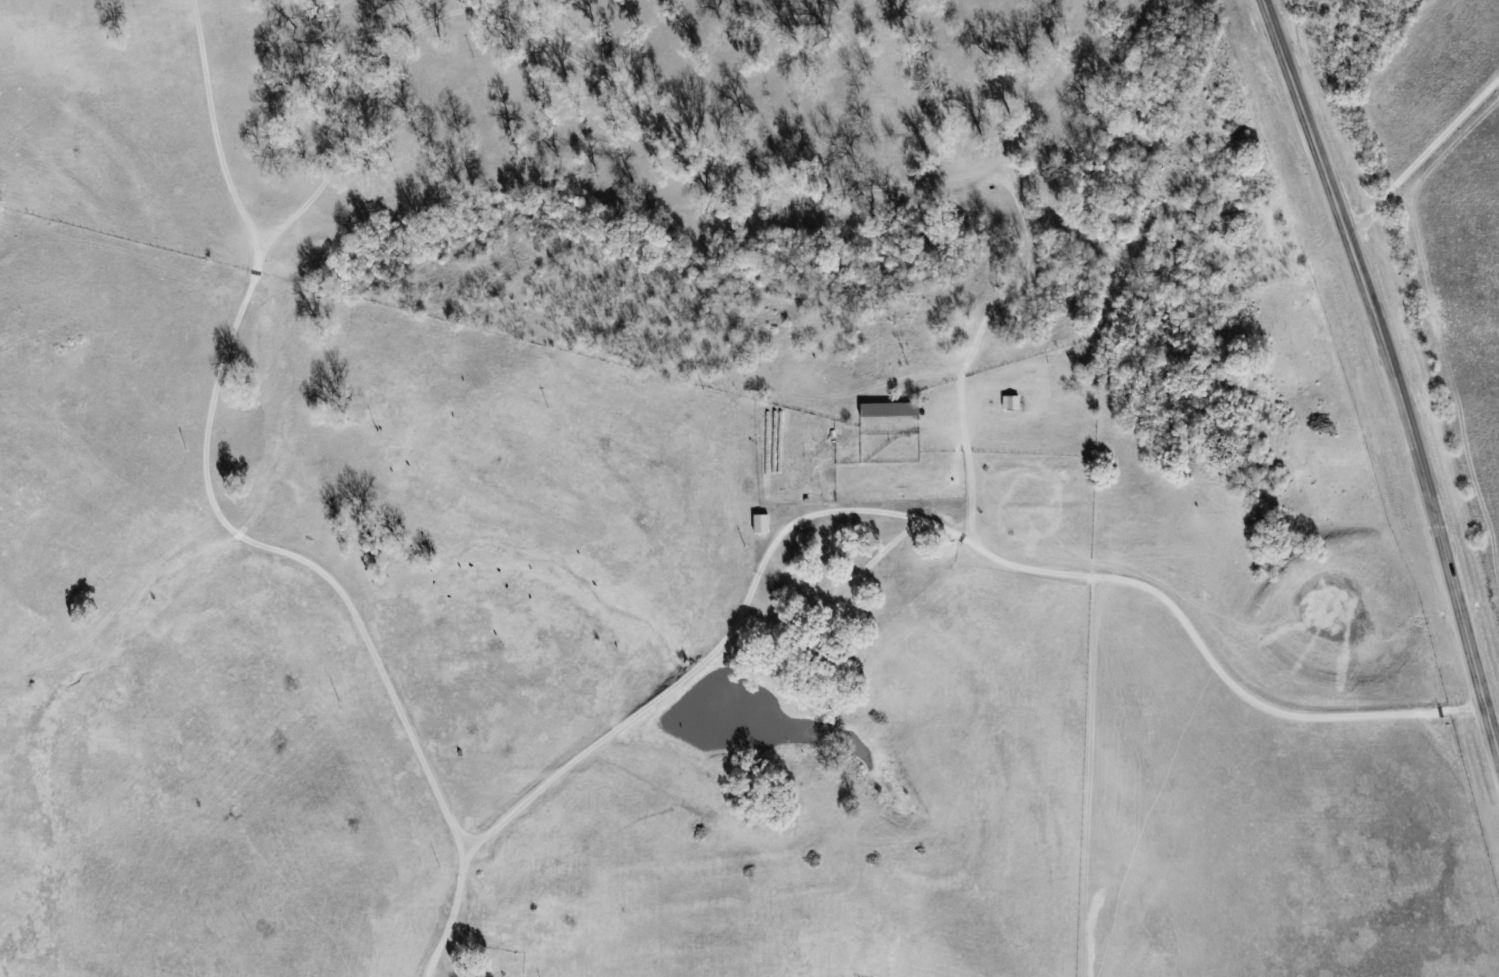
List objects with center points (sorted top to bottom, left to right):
road: (1284, 23)
road: (1423, 161)
road: (1393, 372)
building: (1010, 401)
building: (889, 409)
building: (760, 523)
road: (930, 525)
road: (227, 526)

